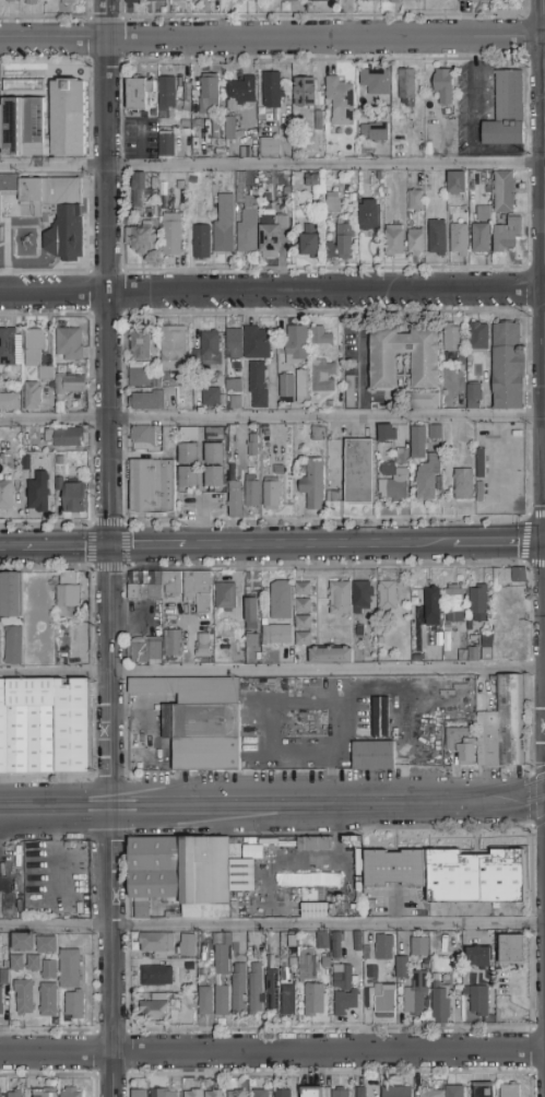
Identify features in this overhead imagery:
building: (9, 0)
building: (180, 0)
building: (238, 0)
building: (318, 0)
building: (368, 0)
building: (391, 0)
building: (473, 0)
building: (134, 1)
building: (157, 1)
building: (292, 1)
building: (413, 1)
building: (31, 2)
building: (69, 2)
building: (56, 4)
road: (87, 9)
road: (535, 15)
road: (321, 16)
road: (44, 17)
road: (525, 37)
road: (120, 40)
road: (272, 40)
road: (535, 59)
road: (323, 60)
building: (375, 82)
building: (443, 86)
building: (406, 87)
building: (272, 91)
building: (240, 92)
building: (139, 93)
building: (206, 93)
building: (305, 93)
building: (167, 95)
building: (340, 103)
road: (528, 107)
road: (120, 110)
building: (506, 110)
road: (473, 114)
building: (43, 118)
building: (316, 119)
building: (374, 130)
building: (230, 131)
road: (544, 144)
building: (167, 145)
building: (270, 146)
road: (525, 163)
road: (121, 166)
road: (272, 166)
building: (416, 179)
building: (315, 182)
building: (457, 184)
building: (8, 185)
building: (503, 192)
building: (139, 193)
building: (415, 201)
building: (332, 203)
building: (58, 213)
building: (370, 215)
road: (528, 217)
building: (224, 224)
building: (248, 225)
building: (481, 231)
building: (459, 233)
building: (173, 235)
building: (272, 235)
building: (508, 236)
building: (140, 238)
building: (437, 238)
building: (393, 239)
building: (201, 241)
building: (416, 241)
building: (309, 244)
building: (342, 244)
road: (536, 266)
road: (276, 269)
road: (107, 273)
road: (272, 291)
road: (528, 296)
road: (276, 314)
building: (320, 337)
building: (479, 338)
building: (452, 339)
building: (235, 343)
building: (70, 344)
building: (257, 344)
building: (141, 345)
building: (297, 345)
building: (8, 346)
building: (173, 347)
building: (209, 350)
road: (528, 358)
building: (49, 364)
building: (403, 365)
building: (508, 367)
building: (384, 371)
building: (140, 376)
building: (322, 377)
building: (234, 386)
building: (259, 386)
building: (287, 388)
building: (303, 388)
building: (349, 392)
building: (33, 397)
building: (212, 397)
building: (474, 397)
building: (187, 398)
building: (423, 400)
building: (147, 401)
building: (9, 402)
building: (236, 402)
road: (526, 415)
road: (272, 417)
road: (123, 418)
building: (265, 428)
building: (258, 430)
building: (436, 433)
building: (214, 434)
building: (189, 435)
building: (388, 435)
building: (64, 437)
building: (144, 439)
building: (230, 444)
building: (420, 445)
building: (252, 448)
building: (188, 453)
building: (214, 453)
building: (403, 457)
building: (26, 463)
building: (482, 464)
road: (529, 470)
building: (251, 471)
building: (359, 472)
road: (123, 475)
building: (188, 477)
building: (215, 477)
building: (427, 481)
building: (393, 484)
building: (59, 485)
building: (313, 485)
building: (463, 485)
building: (152, 487)
building: (482, 493)
building: (38, 494)
building: (252, 494)
building: (272, 494)
building: (5, 496)
building: (74, 496)
building: (333, 497)
building: (235, 499)
road: (536, 515)
road: (325, 521)
road: (498, 544)
road: (318, 546)
road: (64, 547)
road: (146, 547)
road: (11, 548)
building: (520, 576)
building: (189, 587)
building: (304, 589)
building: (144, 592)
building: (11, 595)
building: (388, 595)
building: (69, 597)
building: (226, 597)
building: (363, 597)
building: (341, 599)
building: (281, 601)
building: (479, 601)
building: (454, 604)
building: (304, 606)
building: (433, 608)
building: (252, 613)
building: (304, 623)
building: (360, 630)
building: (275, 634)
building: (250, 639)
building: (304, 639)
building: (173, 644)
building: (13, 647)
building: (202, 647)
building: (487, 649)
building: (145, 653)
building: (474, 654)
building: (331, 656)
building: (463, 656)
road: (108, 672)
road: (272, 672)
building: (381, 718)
building: (200, 720)
building: (320, 720)
building: (293, 721)
building: (307, 721)
building: (32, 726)
building: (73, 727)
building: (503, 727)
building: (3, 729)
building: (455, 736)
building: (466, 752)
building: (374, 755)
railway: (273, 800)
road: (110, 802)
railway: (502, 805)
road: (329, 806)
road: (55, 807)
railway: (229, 811)
railway: (174, 827)
building: (312, 842)
building: (234, 847)
building: (395, 869)
building: (355, 872)
building: (188, 875)
building: (475, 876)
building: (311, 877)
building: (313, 909)
road: (272, 924)
building: (323, 941)
building: (292, 942)
building: (358, 942)
building: (23, 943)
building: (157, 944)
building: (46, 945)
building: (336, 945)
building: (188, 946)
building: (384, 947)
building: (419, 947)
building: (367, 949)
building: (513, 951)
road: (111, 952)
building: (223, 956)
building: (479, 957)
building: (276, 963)
building: (292, 963)
building: (325, 963)
building: (16, 964)
building: (33, 964)
building: (5, 965)
building: (270, 965)
building: (307, 966)
building: (425, 967)
building: (402, 968)
building: (70, 969)
building: (49, 970)
building: (368, 972)
building: (156, 977)
building: (342, 977)
building: (4, 978)
building: (223, 982)
building: (238, 990)
building: (256, 990)
building: (272, 990)
building: (416, 994)
building: (24, 998)
building: (48, 1000)
building: (288, 1000)
building: (369, 1000)
building: (478, 1000)
building: (222, 1001)
building: (313, 1001)
building: (386, 1001)
building: (205, 1002)
building: (345, 1002)
building: (440, 1002)
building: (1, 1003)
building: (74, 1004)
building: (158, 1010)
road: (272, 1052)
building: (484, 1090)
building: (510, 1090)
building: (312, 1092)
building: (362, 1092)
building: (398, 1092)
building: (455, 1092)
building: (1, 1093)
building: (72, 1093)
building: (163, 1093)
building: (340, 1093)
building: (15, 1094)
building: (43, 1094)
building: (140, 1094)
building: (193, 1094)
building: (214, 1094)
building: (236, 1094)
building: (260, 1094)
building: (283, 1094)
building: (431, 1094)

